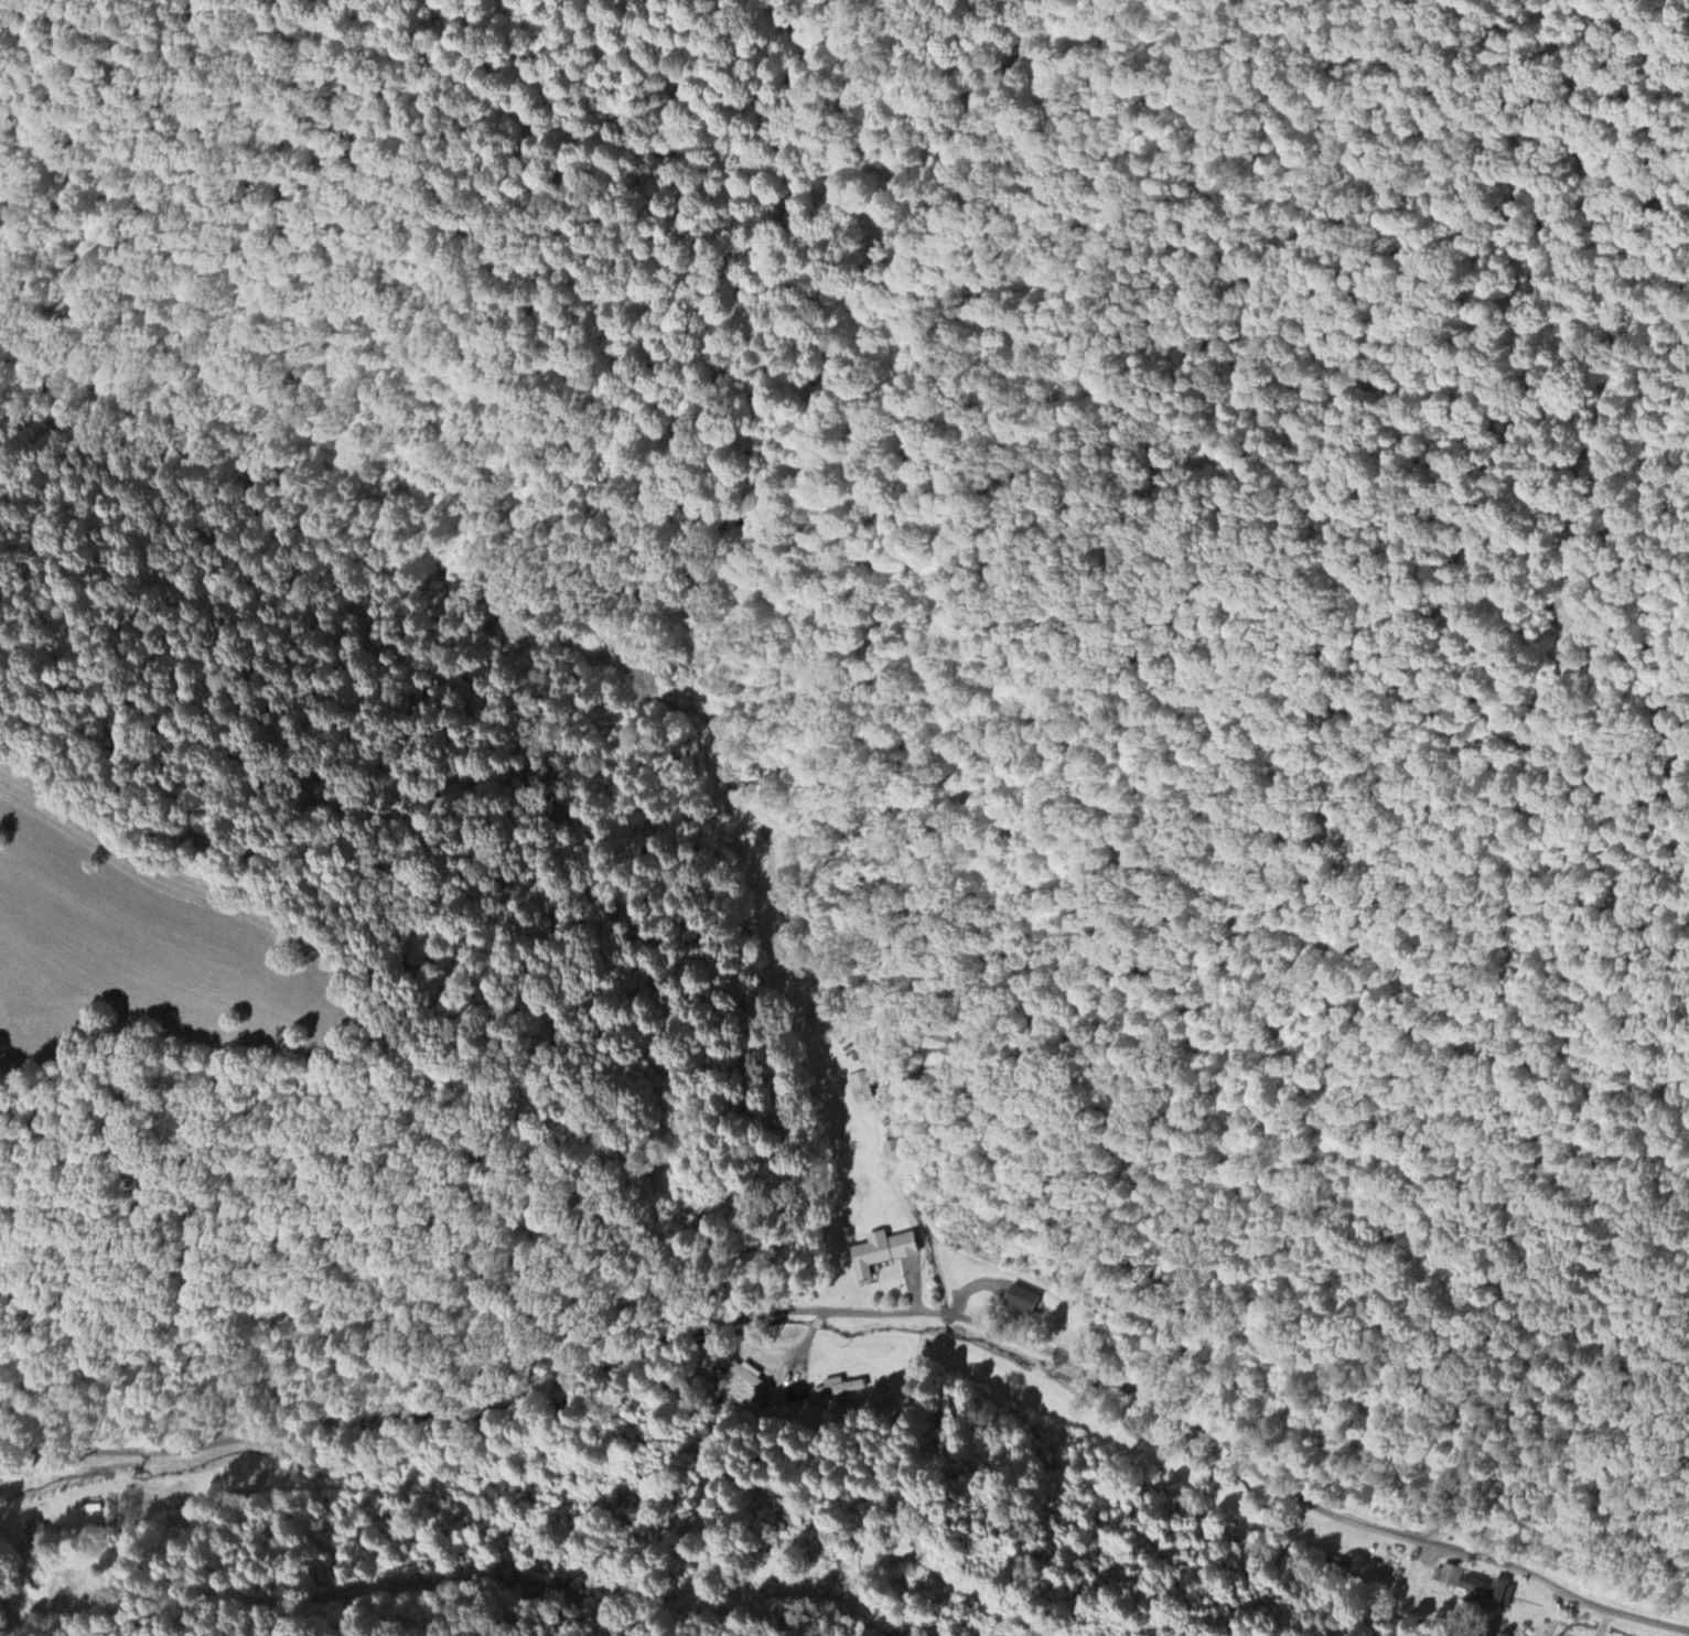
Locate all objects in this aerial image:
building: (860, 1084)
building: (893, 1145)
building: (882, 1249)
building: (1020, 1294)
road: (868, 1312)
road: (826, 1313)
road: (819, 1320)
road: (804, 1345)
building: (749, 1373)
building: (841, 1384)
building: (37, 1527)
building: (1340, 1560)
crop: (881, 1579)
building: (1477, 1583)

